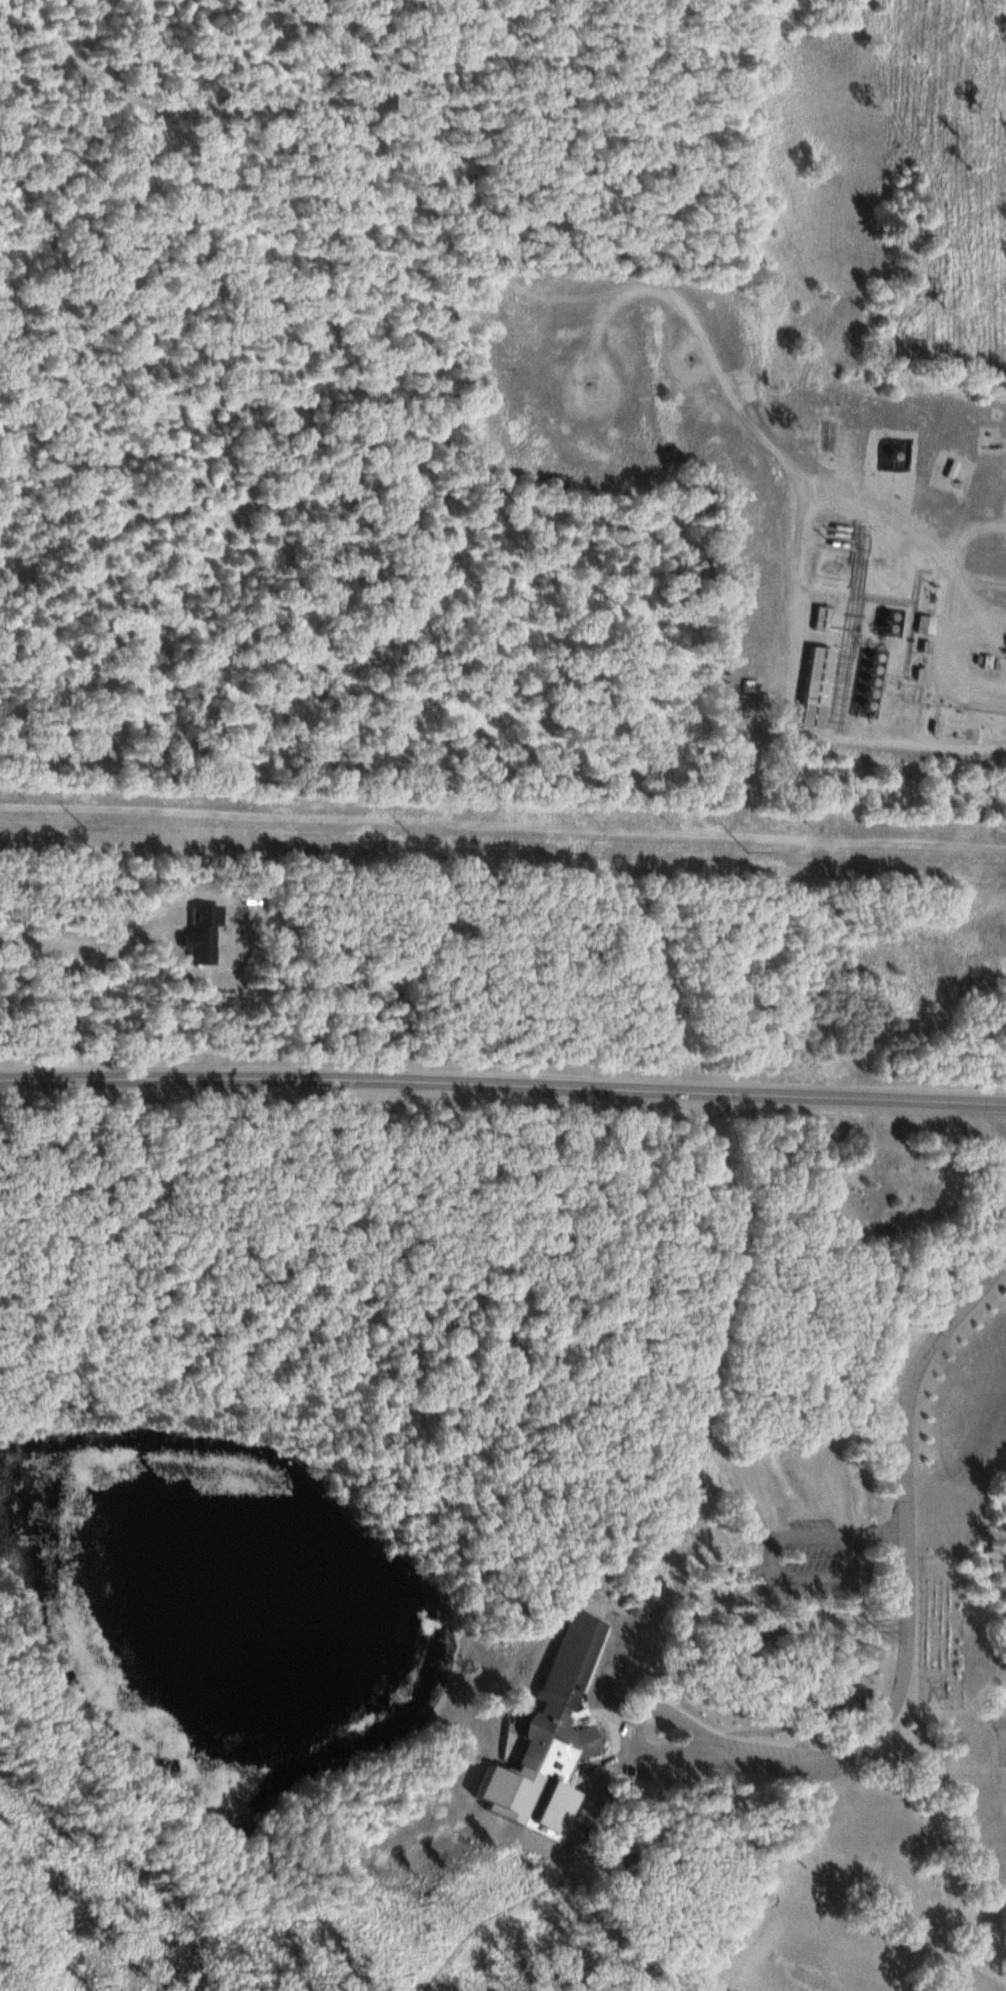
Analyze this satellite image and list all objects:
road: (516, 280)
building: (817, 619)
building: (921, 625)
building: (811, 688)
road: (503, 822)
building: (198, 933)
road: (95, 975)
road: (503, 1086)
road: (905, 1594)
building: (754, 1624)
building: (837, 1702)
building: (549, 1735)

